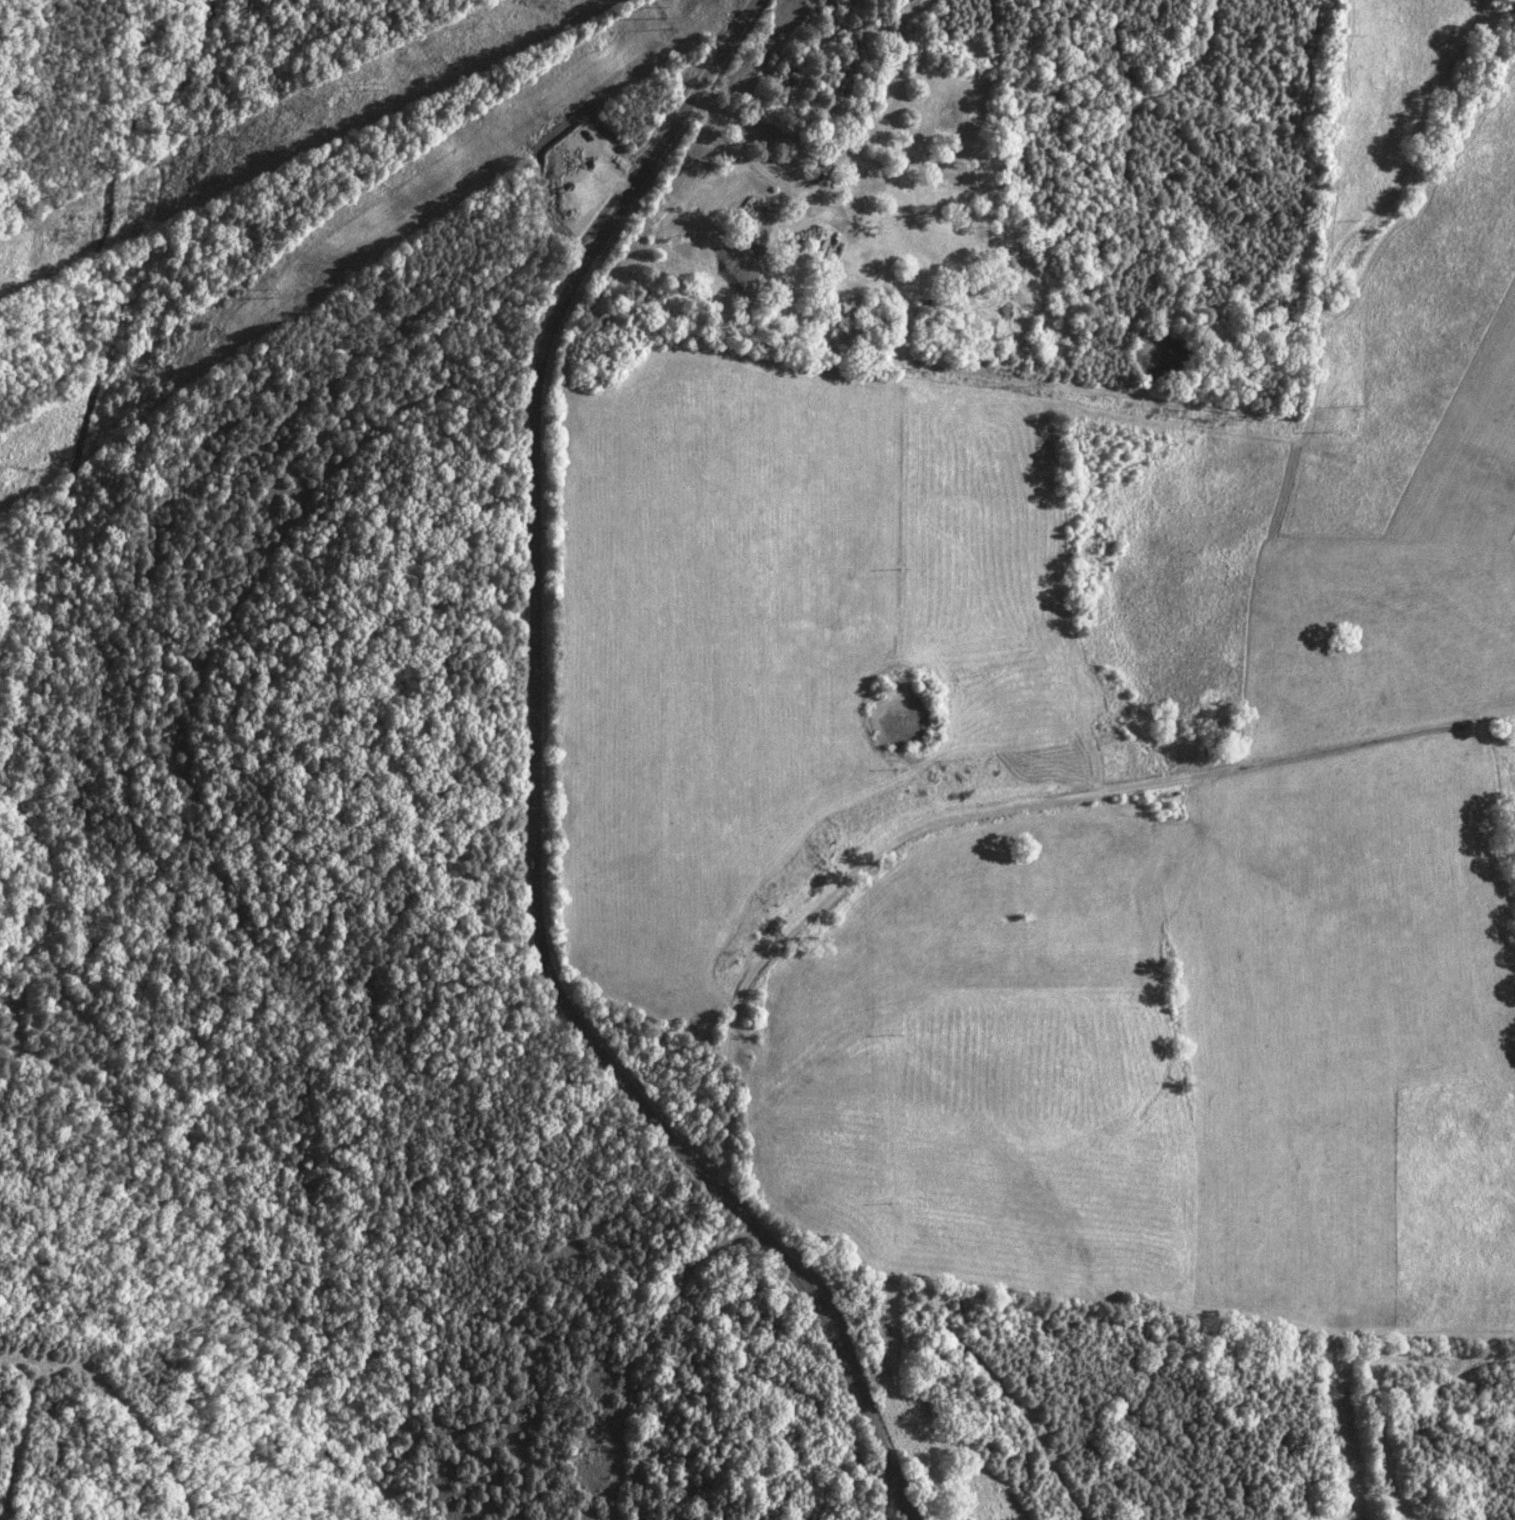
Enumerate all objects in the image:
power tower: (668, 19)
power tower: (376, 90)
building: (769, 233)
building: (801, 235)
power tower: (269, 292)
road: (535, 787)
road: (1001, 812)

